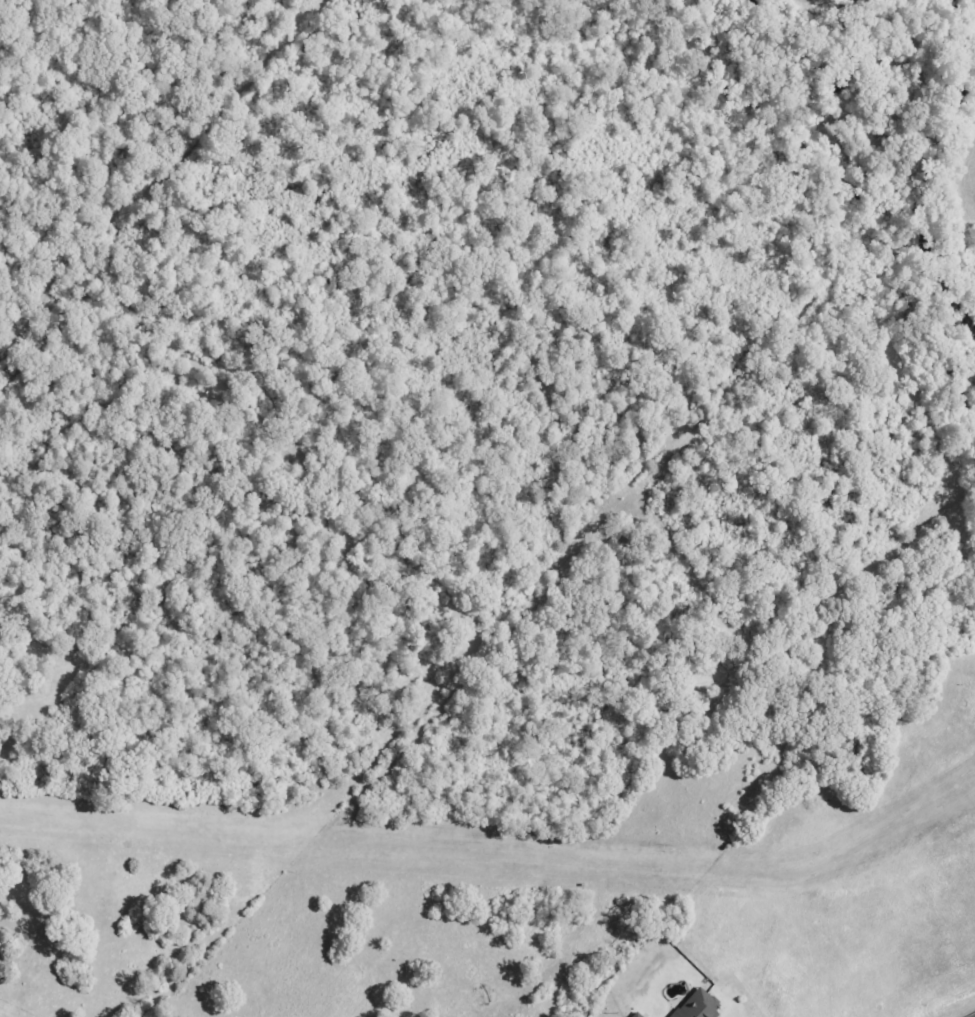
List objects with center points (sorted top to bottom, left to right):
building: (634, 1015)

